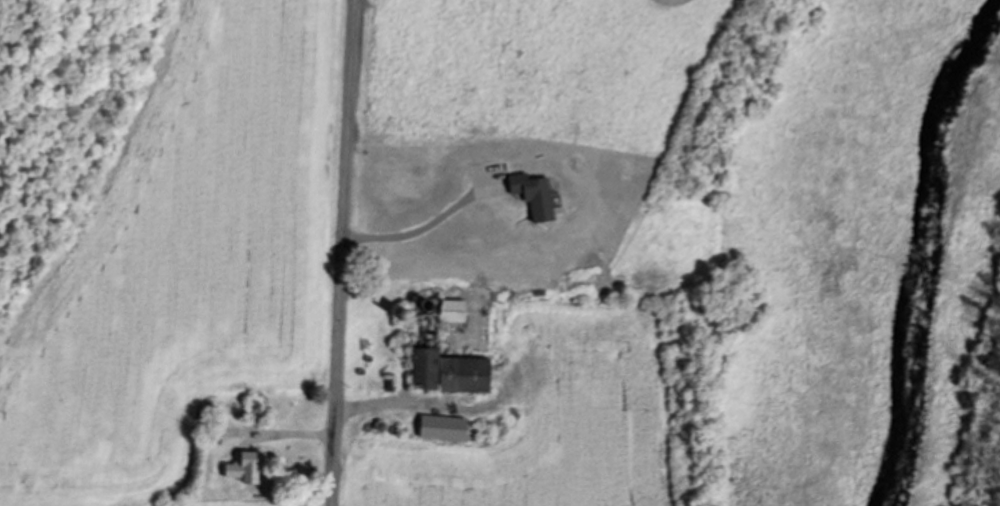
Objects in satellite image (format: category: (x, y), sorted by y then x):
quarry: (56, 114)
building: (532, 195)
road: (421, 228)
river: (923, 249)
road: (341, 252)
building: (450, 311)
building: (424, 369)
building: (463, 374)
building: (441, 428)
building: (245, 467)

